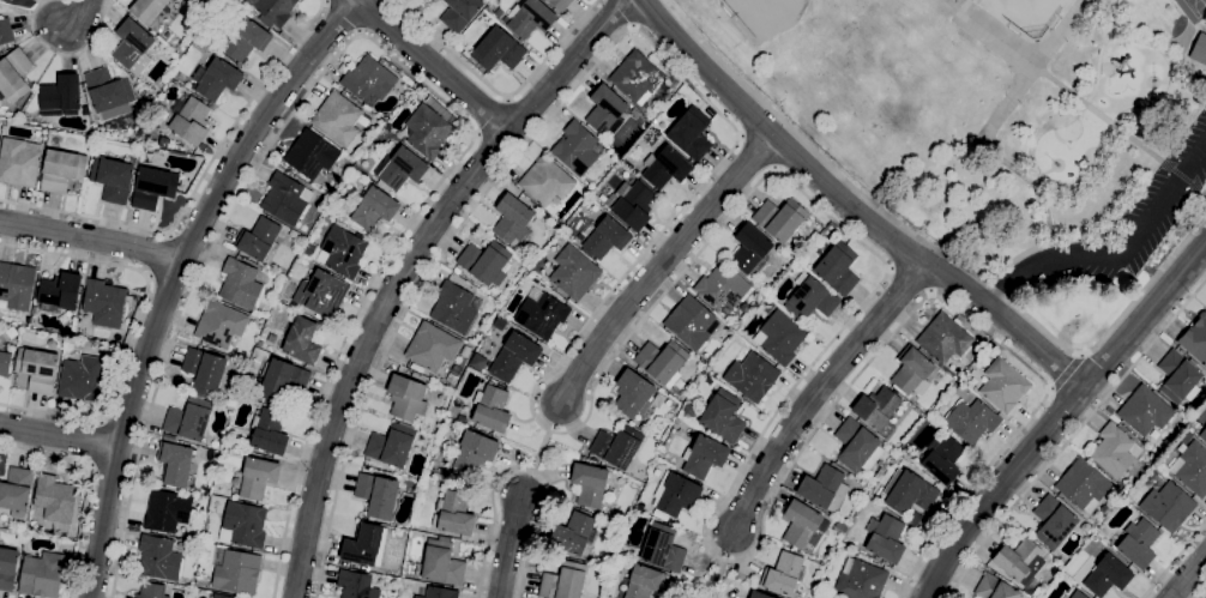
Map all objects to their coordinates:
building: (560, 4)
building: (147, 10)
park: (1192, 10)
building: (275, 11)
building: (460, 13)
road: (623, 13)
road: (79, 14)
road: (340, 16)
park: (1027, 16)
building: (530, 18)
building: (5, 30)
building: (247, 40)
road: (375, 42)
park: (804, 42)
building: (133, 47)
building: (498, 49)
building: (1200, 49)
road: (64, 53)
road: (429, 64)
building: (14, 74)
building: (639, 77)
building: (216, 78)
building: (369, 79)
building: (138, 86)
building: (109, 92)
road: (499, 92)
building: (61, 93)
road: (1077, 97)
building: (605, 109)
road: (488, 115)
building: (339, 117)
building: (189, 120)
park: (996, 127)
building: (427, 131)
building: (692, 133)
building: (388, 145)
building: (575, 147)
building: (312, 153)
building: (19, 162)
building: (665, 167)
building: (403, 168)
building: (61, 169)
building: (113, 177)
building: (547, 180)
road: (197, 186)
building: (153, 187)
building: (285, 198)
building: (632, 204)
road: (849, 206)
building: (374, 209)
building: (780, 218)
building: (513, 221)
road: (91, 237)
building: (607, 237)
building: (258, 238)
road: (935, 247)
building: (752, 249)
building: (342, 252)
road: (1116, 254)
building: (486, 262)
building: (838, 268)
road: (664, 270)
building: (574, 272)
road: (410, 274)
road: (679, 274)
road: (174, 278)
building: (240, 283)
building: (16, 285)
building: (722, 286)
building: (60, 290)
building: (321, 294)
building: (812, 300)
building: (104, 302)
building: (454, 308)
building: (542, 313)
building: (691, 322)
building: (221, 324)
road: (134, 325)
building: (12, 332)
building: (779, 337)
building: (272, 338)
building: (943, 338)
building: (1196, 338)
building: (303, 340)
building: (432, 346)
building: (514, 356)
building: (662, 362)
building: (5, 363)
building: (37, 369)
building: (205, 370)
building: (912, 372)
road: (1066, 373)
building: (415, 374)
building: (752, 376)
building: (82, 377)
building: (452, 377)
building: (1178, 377)
building: (283, 380)
building: (1003, 385)
road: (818, 391)
building: (633, 394)
building: (408, 397)
building: (658, 399)
building: (492, 407)
building: (876, 407)
building: (1145, 410)
building: (723, 416)
road: (1059, 417)
building: (189, 418)
building: (971, 421)
building: (934, 422)
building: (270, 431)
road: (1073, 434)
building: (1188, 435)
building: (1204, 435)
road: (59, 436)
building: (392, 445)
building: (617, 446)
building: (857, 446)
road: (541, 449)
building: (1115, 449)
building: (474, 451)
building: (704, 455)
building: (942, 459)
building: (176, 463)
road: (524, 469)
building: (1193, 469)
building: (258, 477)
building: (590, 484)
building: (1083, 484)
road: (89, 487)
building: (824, 489)
building: (17, 490)
building: (909, 491)
building: (378, 495)
building: (676, 495)
building: (55, 497)
building: (1168, 506)
building: (167, 511)
building: (453, 514)
building: (915, 518)
building: (1054, 521)
building: (246, 523)
building: (801, 524)
building: (573, 533)
building: (885, 538)
building: (1139, 543)
building: (366, 544)
road: (508, 544)
building: (663, 548)
building: (158, 558)
building: (1020, 561)
road: (1172, 561)
building: (442, 562)
building: (7, 568)
building: (239, 572)
building: (42, 574)
building: (784, 574)
building: (1108, 575)
road: (718, 576)
road: (1188, 578)
building: (860, 580)
building: (563, 581)
building: (645, 582)
building: (356, 585)
building: (995, 588)
building: (152, 590)
building: (1039, 591)
building: (439, 592)
road: (699, 592)
road: (1200, 592)
building: (759, 594)
building: (1078, 594)
building: (222, 596)

